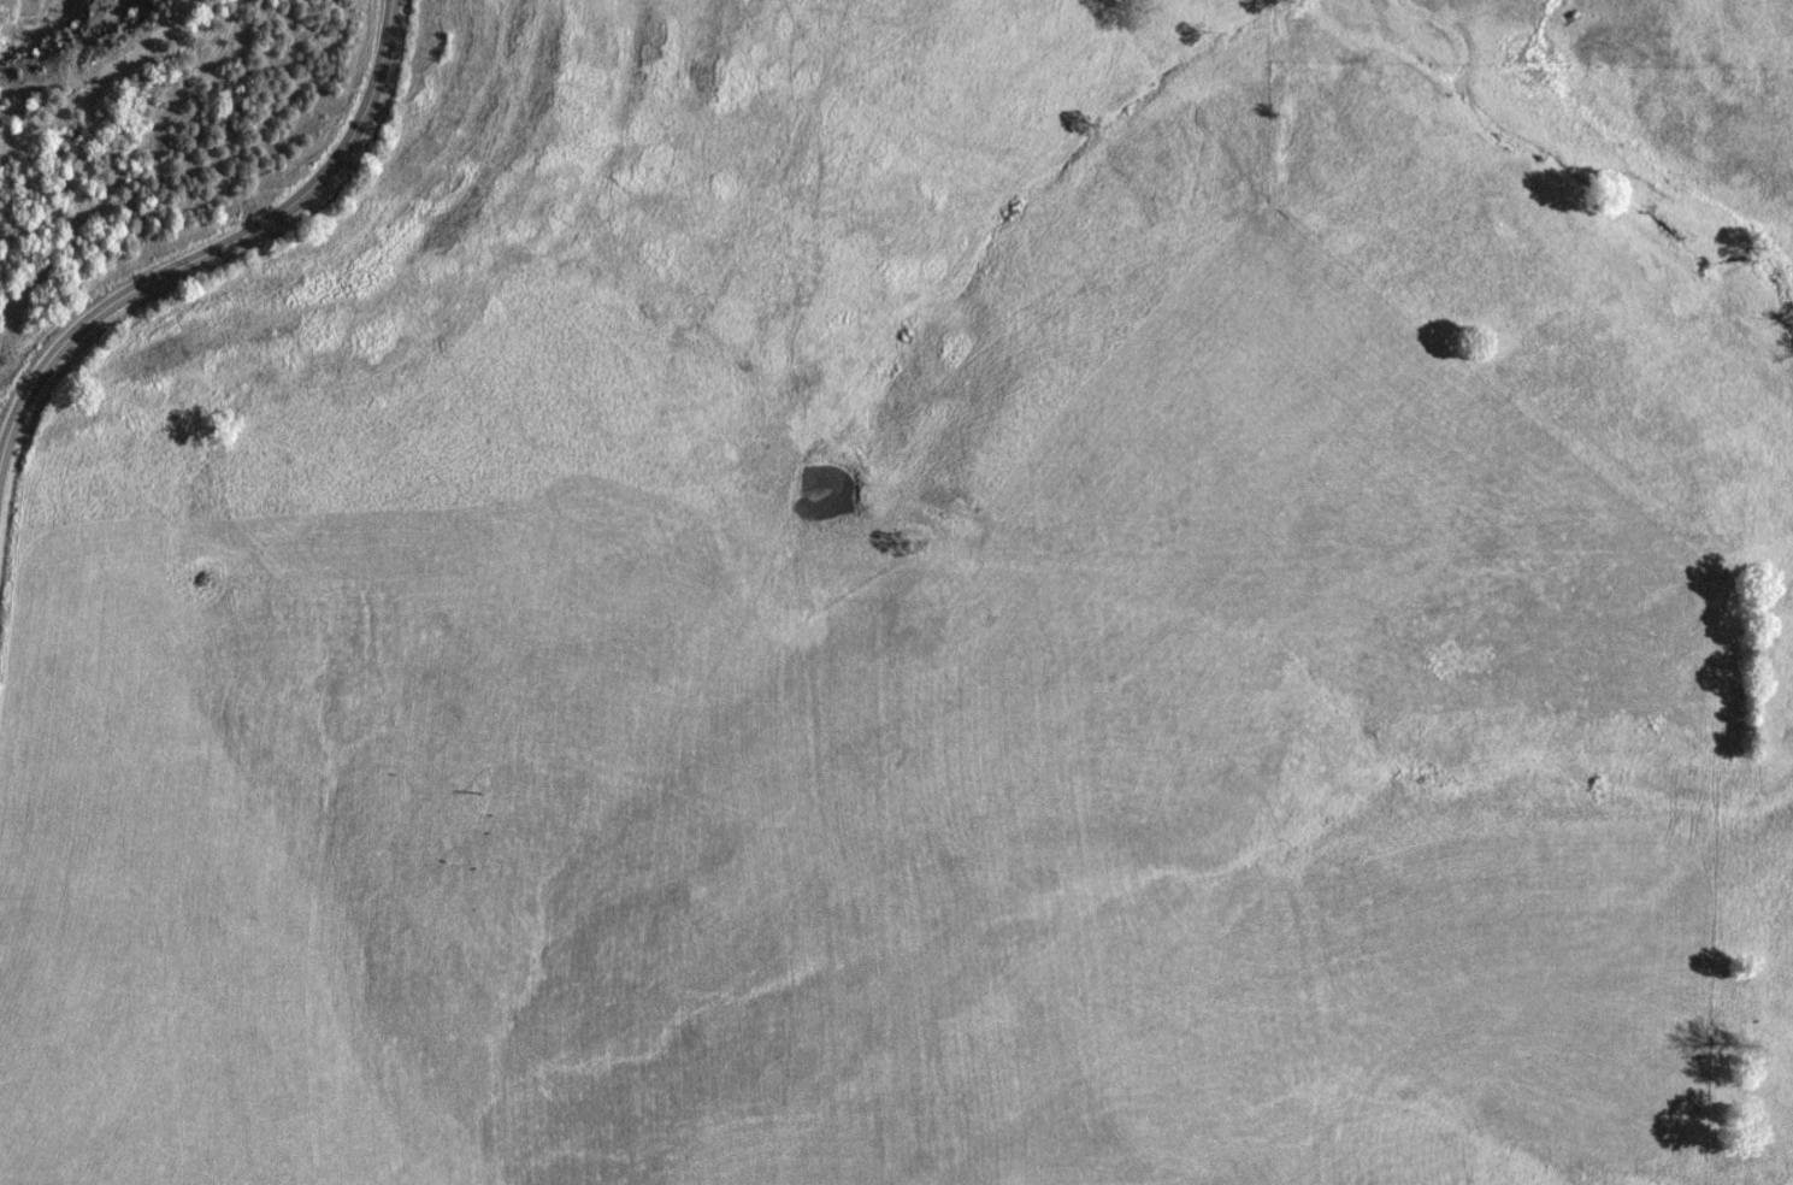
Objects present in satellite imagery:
road: (225, 235)

